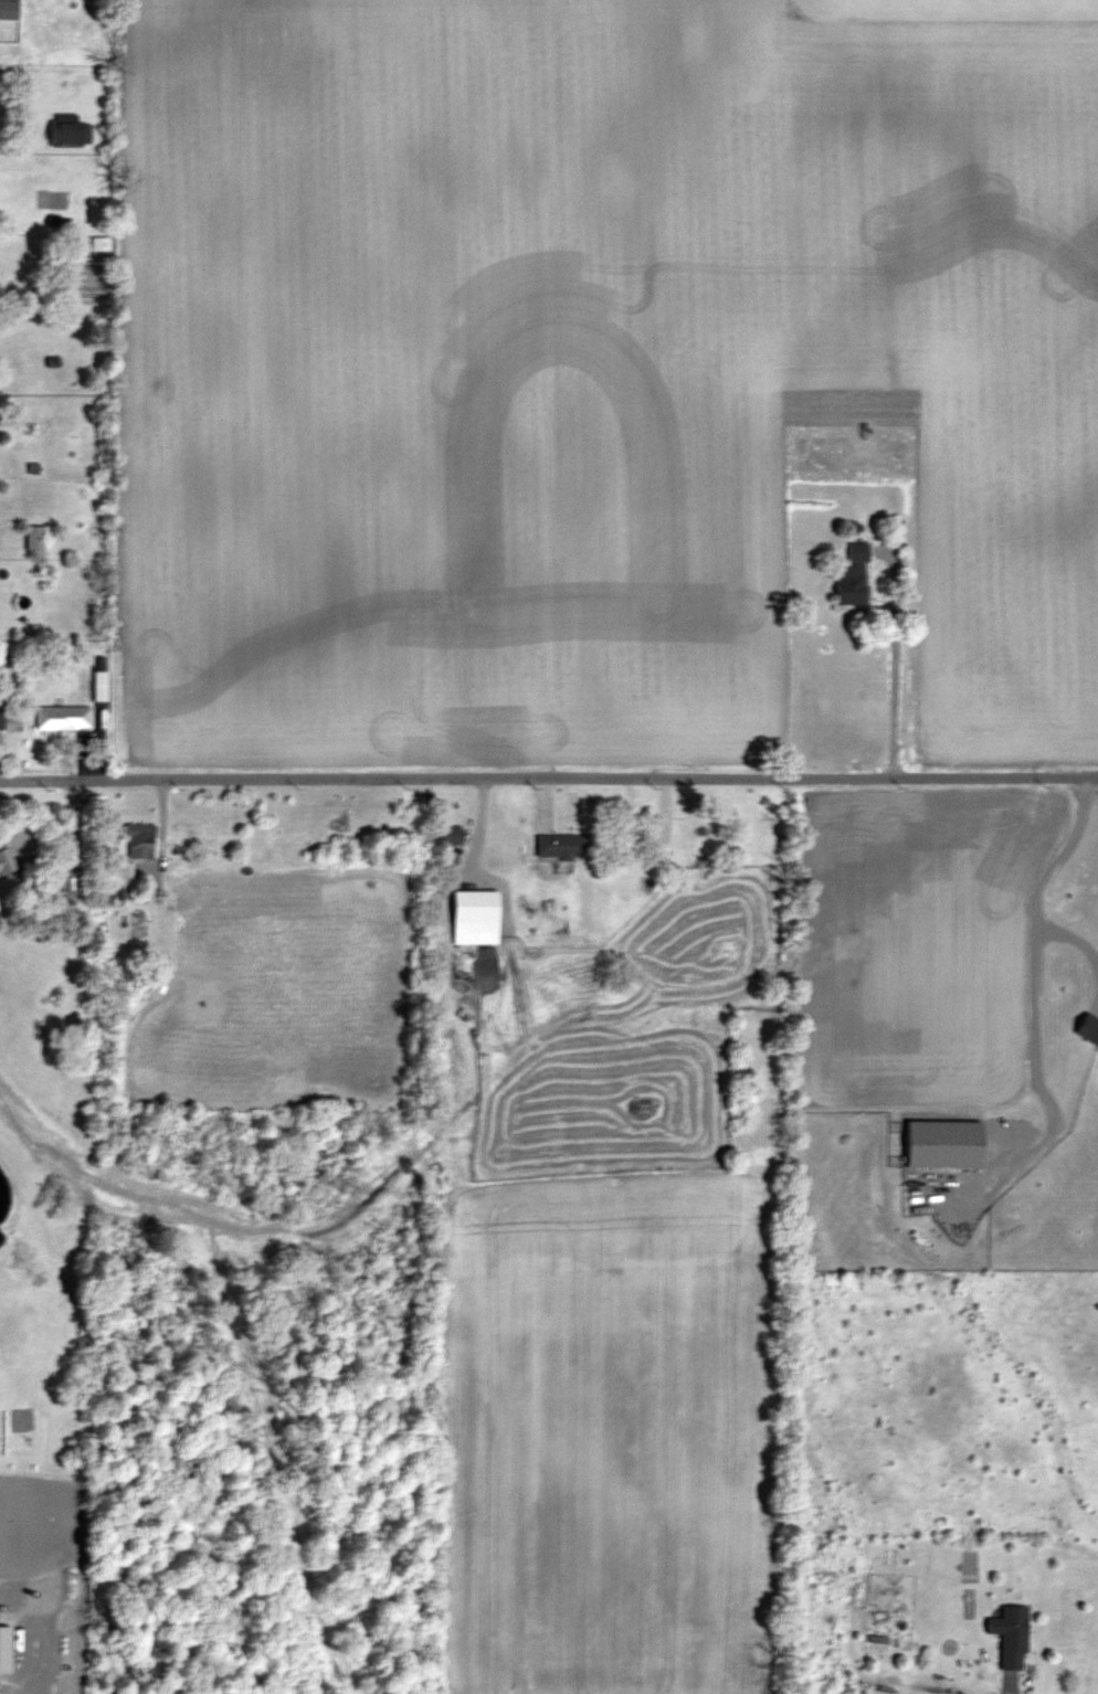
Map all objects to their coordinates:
building: (8, 10)
building: (70, 134)
building: (98, 245)
building: (33, 537)
building: (853, 575)
road: (894, 661)
building: (0, 710)
building: (62, 718)
road: (549, 777)
building: (451, 835)
building: (139, 840)
building: (561, 846)
building: (6, 859)
building: (645, 882)
building: (474, 906)
road: (1034, 974)
building: (1089, 1031)
building: (944, 1143)
building: (1011, 1635)

